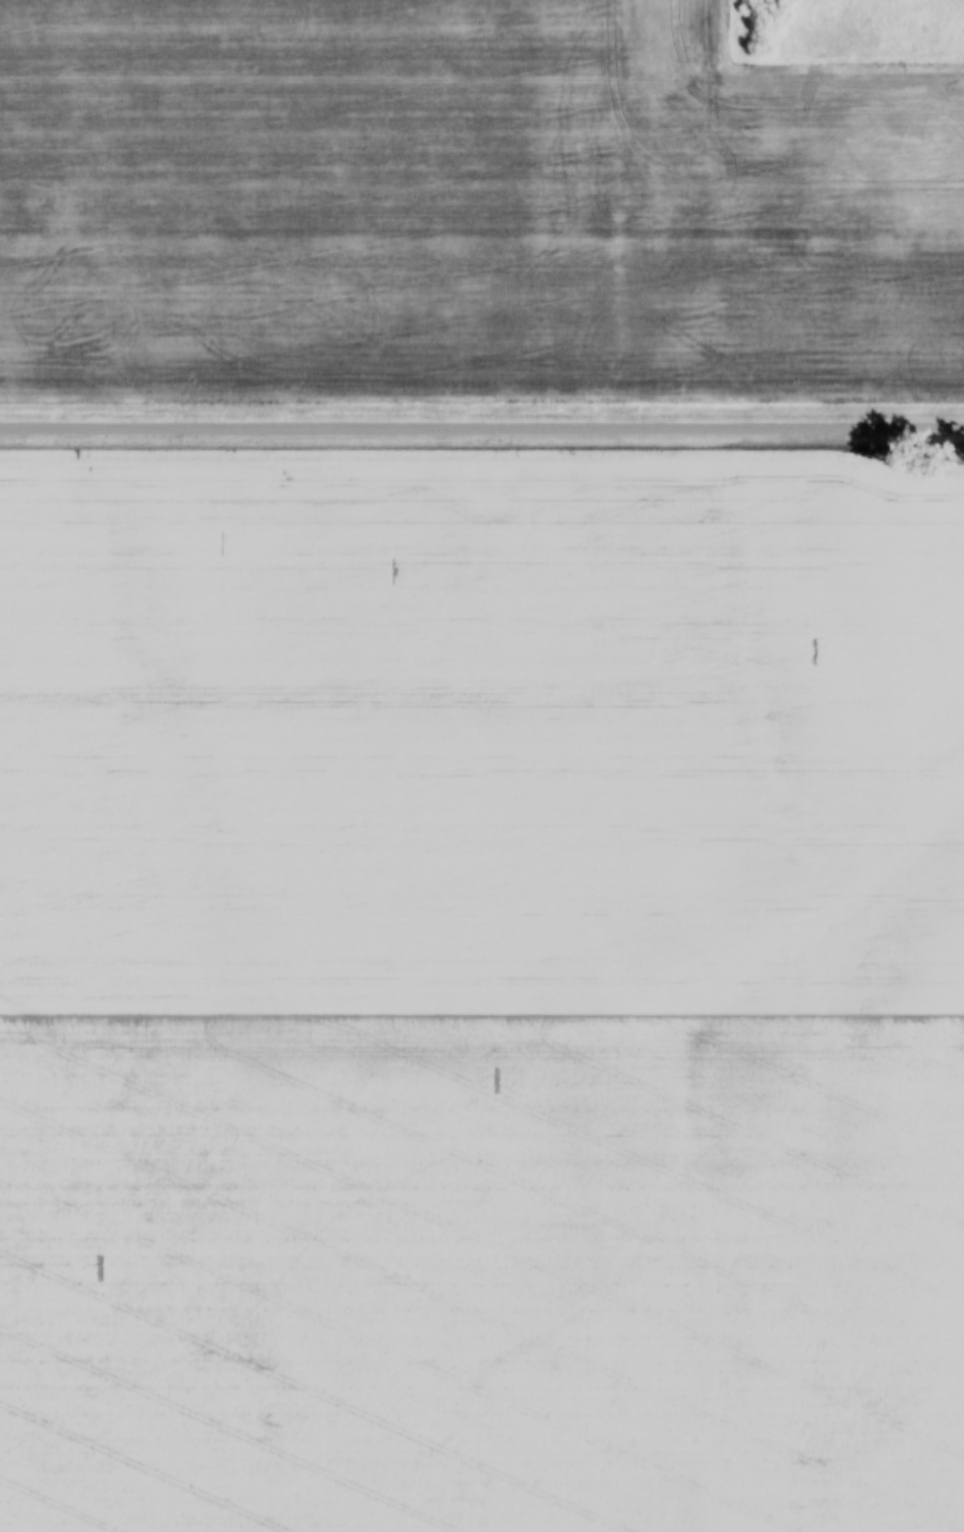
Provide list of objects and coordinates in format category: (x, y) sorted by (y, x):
road: (482, 428)

